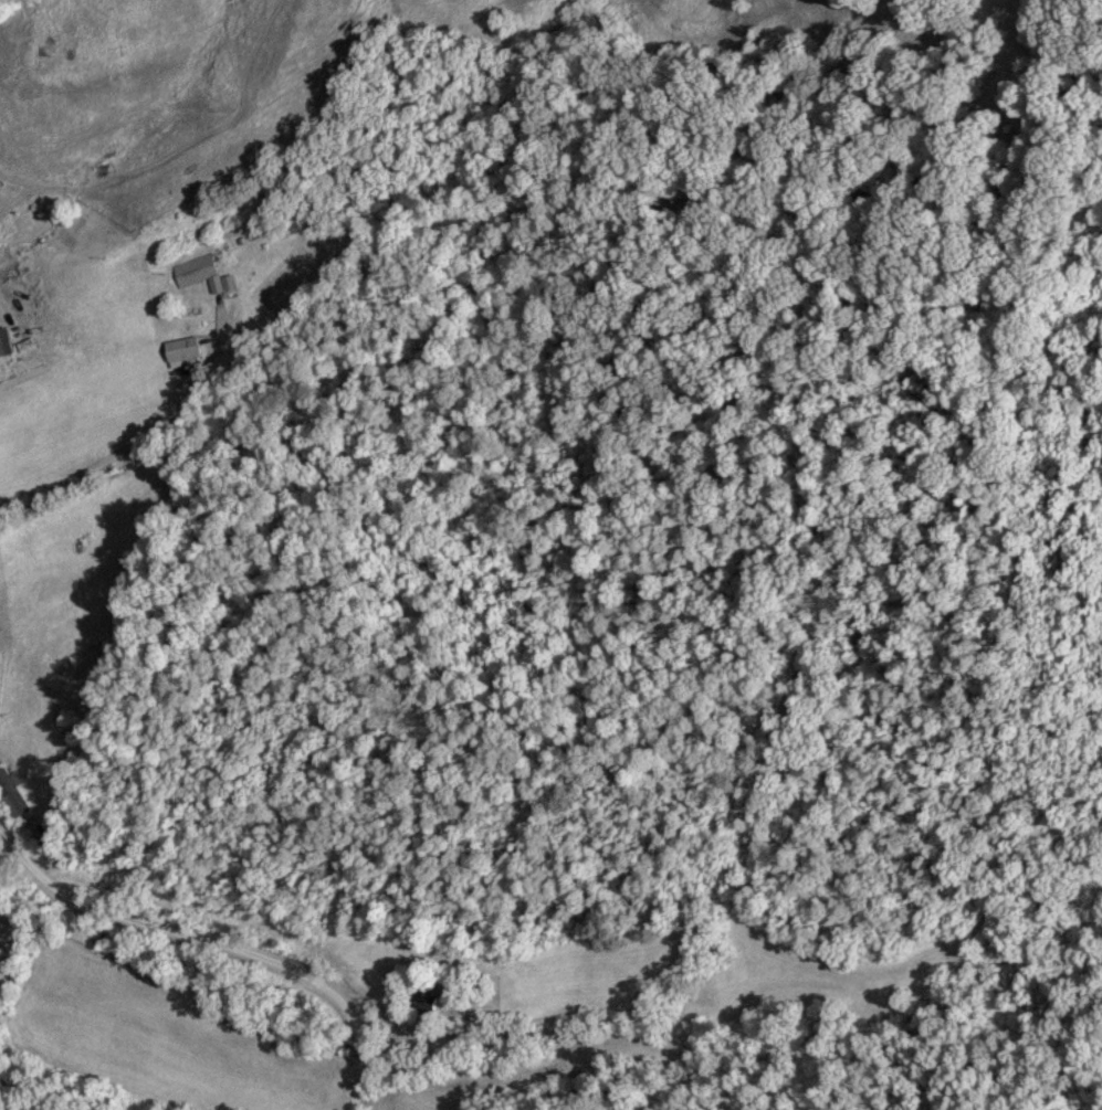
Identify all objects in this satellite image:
road: (137, 434)
road: (213, 953)

